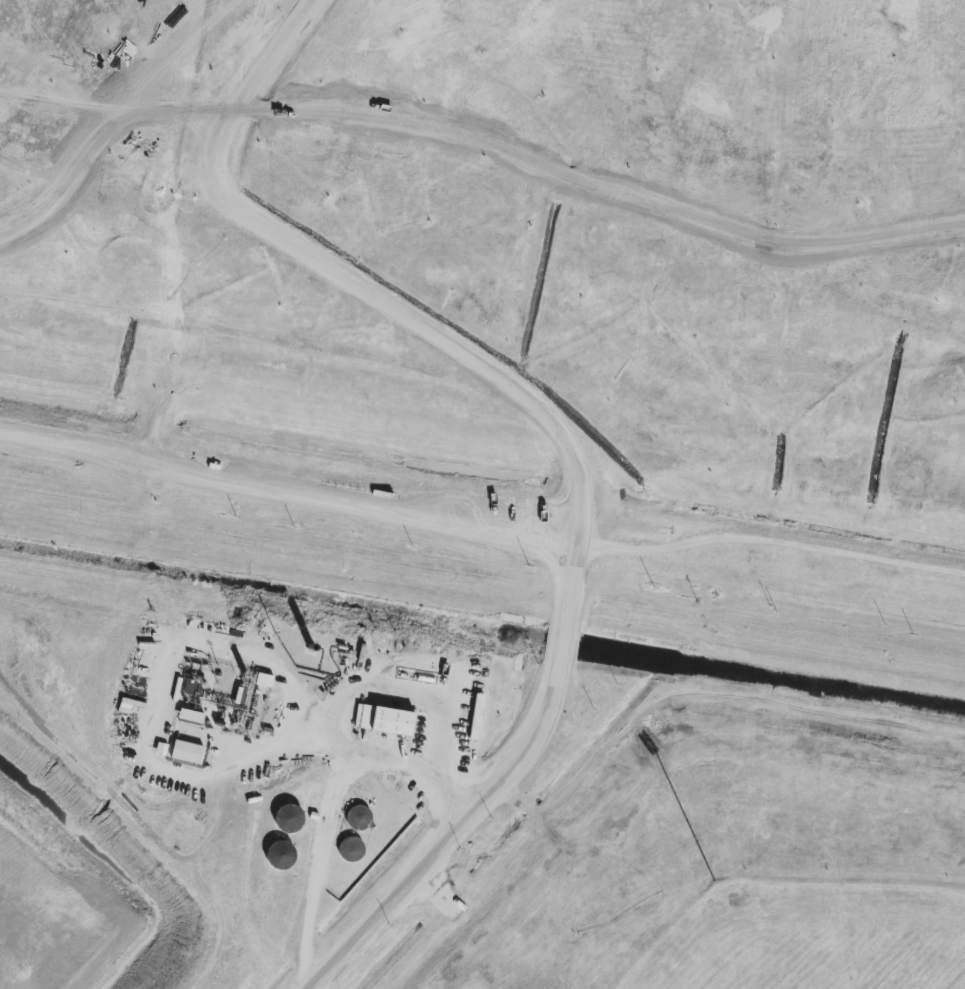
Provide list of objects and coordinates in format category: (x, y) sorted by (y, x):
landfill: (508, 245)
road: (568, 442)
road: (291, 488)
building: (264, 680)
building: (191, 717)
building: (384, 720)
building: (187, 752)
road: (333, 802)
landfill: (444, 805)
building: (288, 818)
building: (358, 818)
building: (351, 850)
building: (280, 856)
road: (964, 988)

